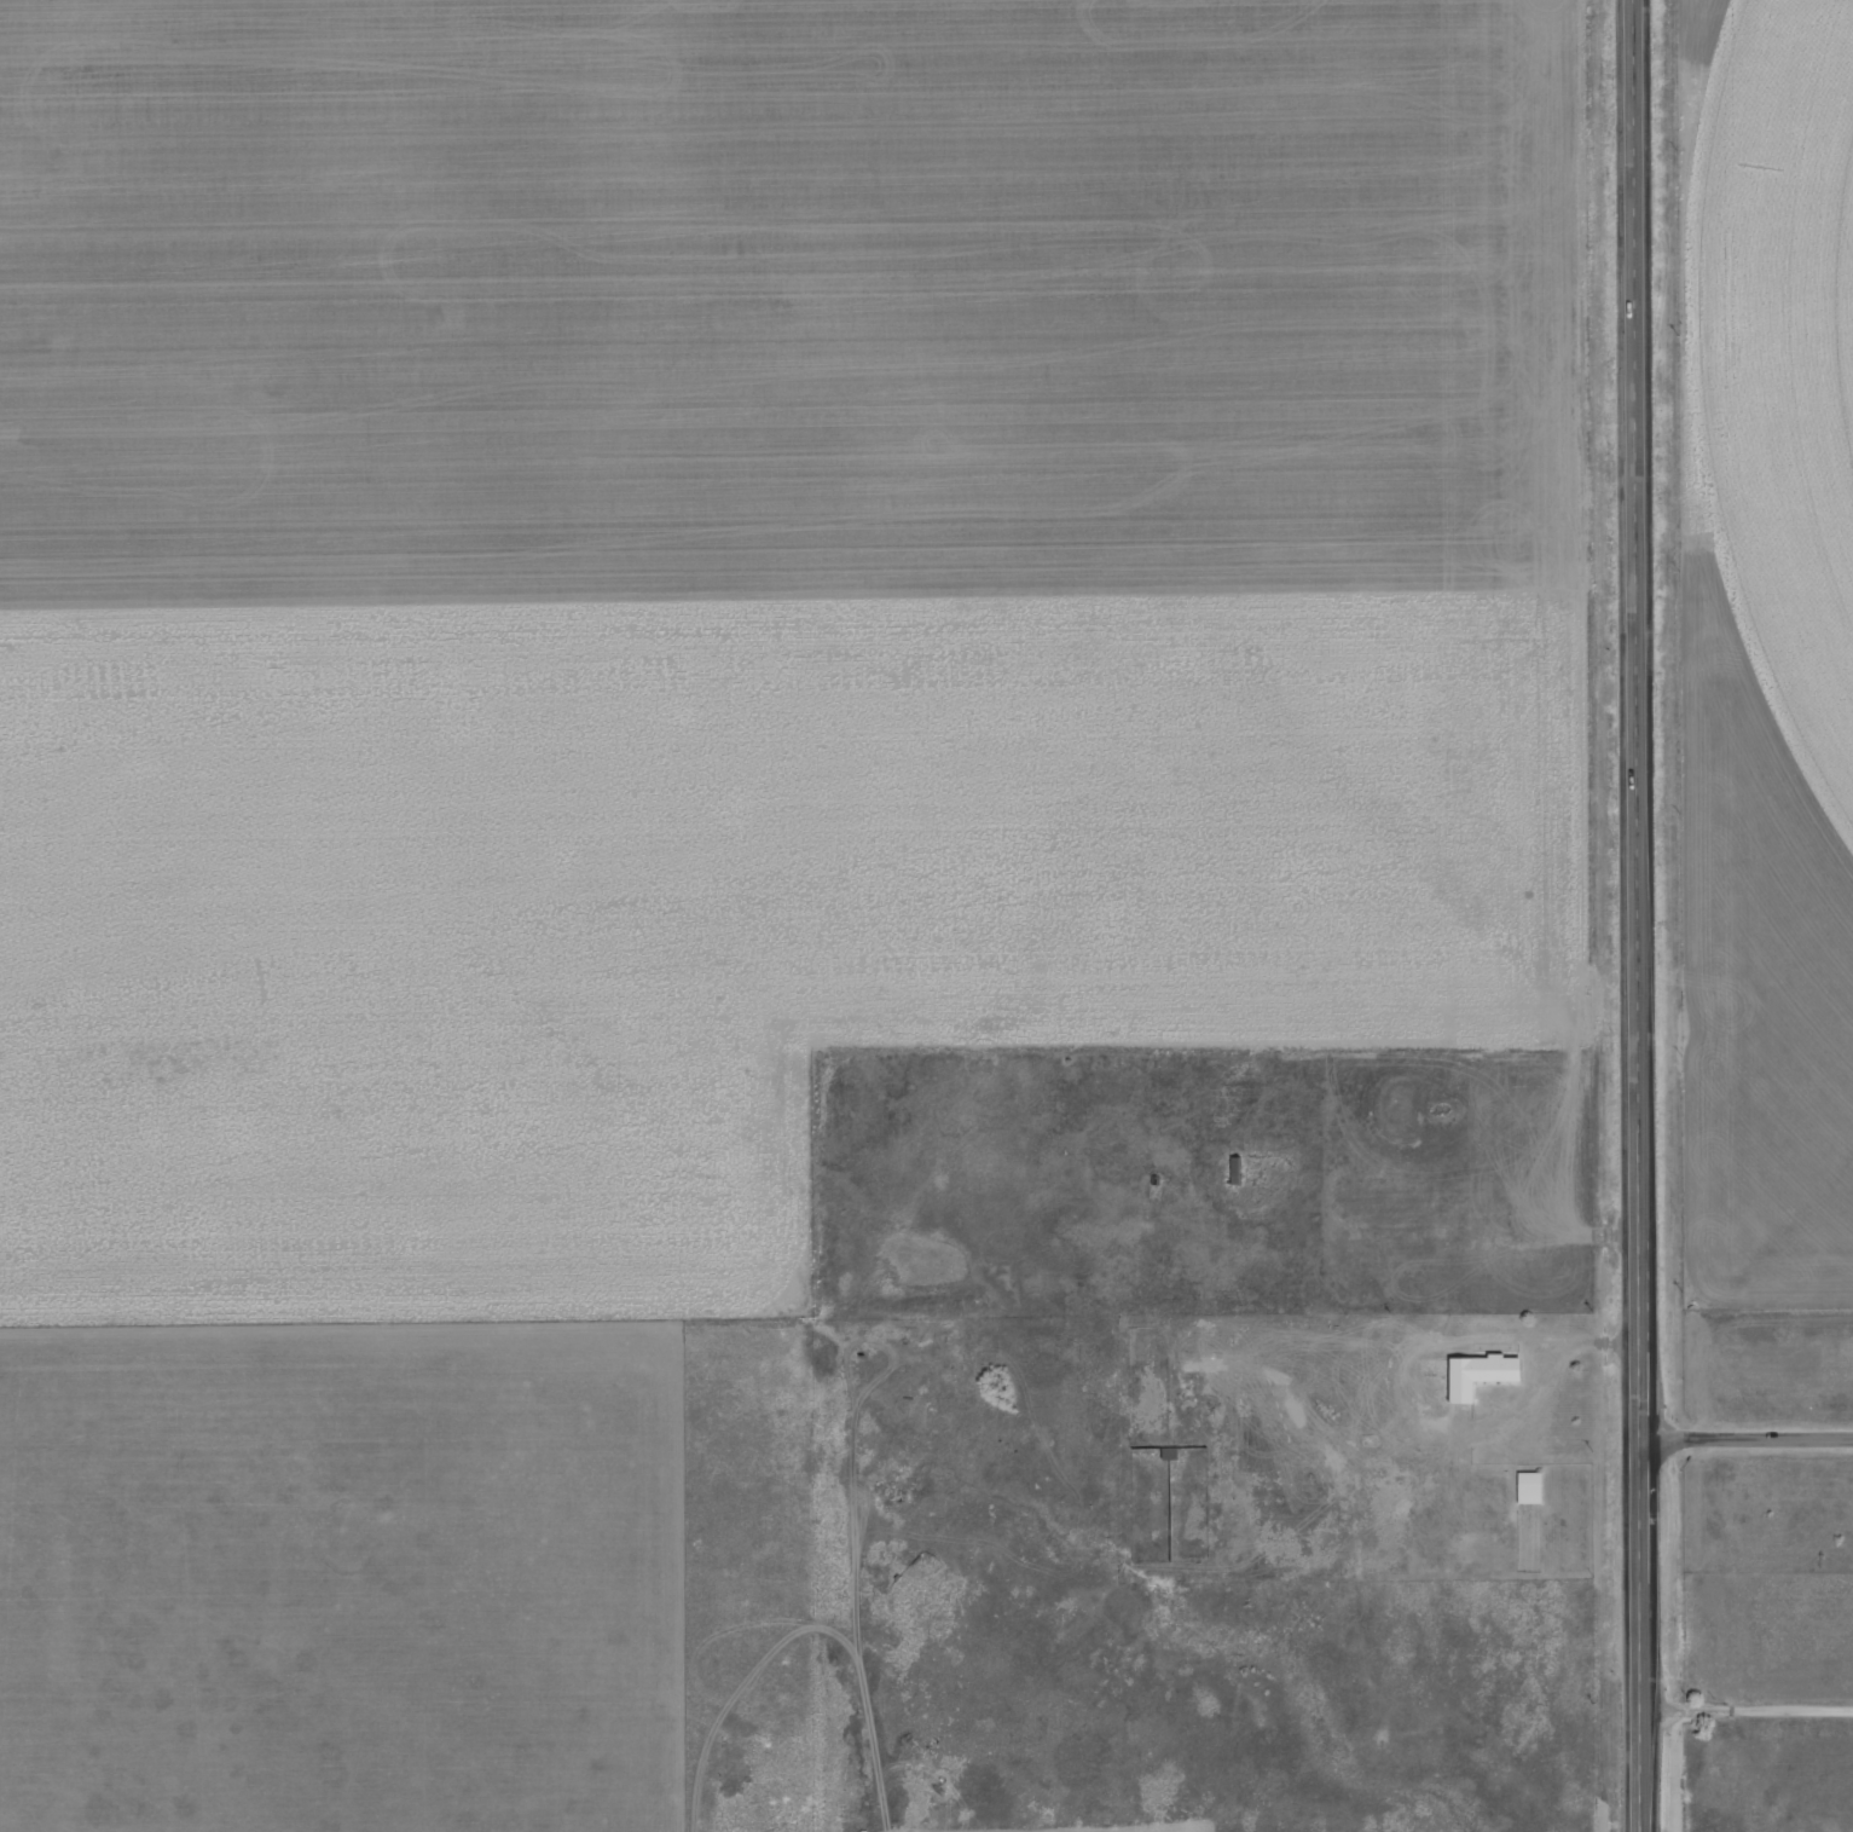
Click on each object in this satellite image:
building: (1635, 150)
building: (1635, 654)
road: (1644, 915)
building: (1234, 1171)
building: (1476, 1375)
road: (1749, 1439)
building: (1168, 1454)
building: (1528, 1487)
road: (1748, 1707)

